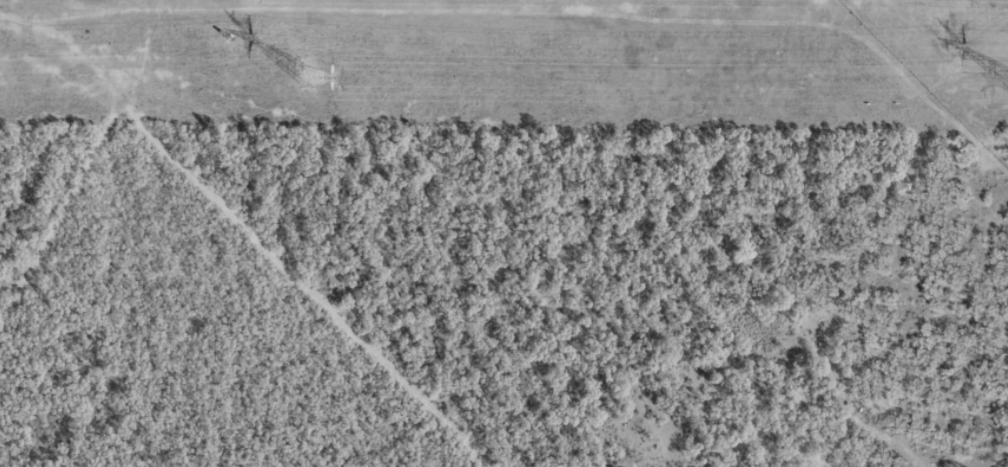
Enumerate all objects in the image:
power tower: (303, 74)
power tower: (1005, 80)

